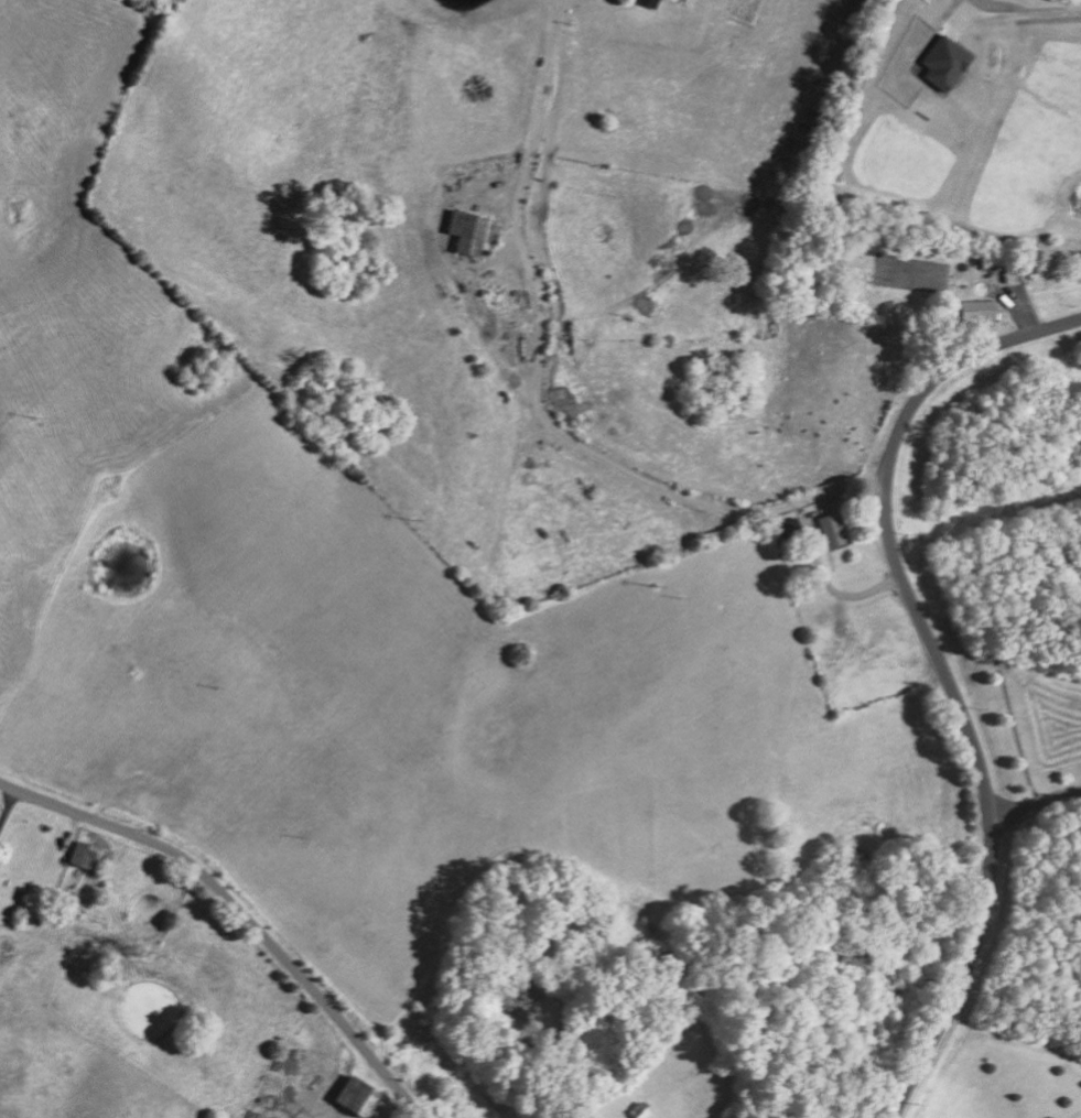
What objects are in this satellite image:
building: (647, 2)
road: (1019, 19)
building: (943, 61)
building: (467, 230)
building: (982, 310)
road: (612, 474)
building: (831, 529)
road: (944, 667)
road: (1036, 801)
building: (85, 856)
road: (237, 911)
building: (352, 1097)

